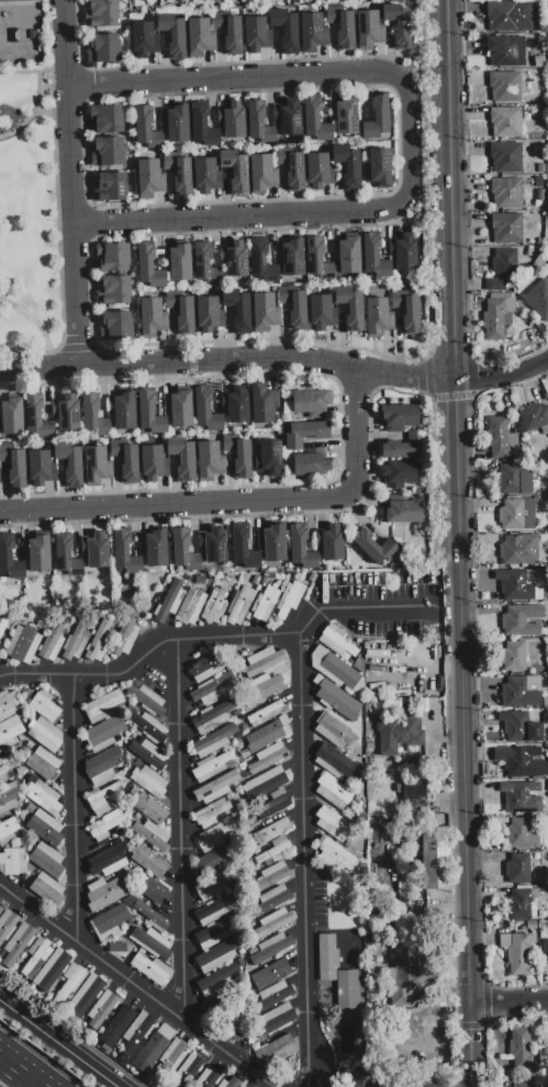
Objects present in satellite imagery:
building: (15, 0)
building: (102, 14)
building: (510, 15)
building: (342, 25)
building: (399, 25)
building: (369, 30)
building: (228, 31)
building: (286, 31)
building: (312, 33)
building: (255, 34)
building: (174, 36)
building: (199, 37)
building: (143, 40)
building: (103, 48)
building: (506, 51)
road: (412, 57)
building: (539, 61)
road: (36, 71)
building: (505, 86)
road: (32, 112)
road: (53, 112)
building: (346, 116)
building: (378, 117)
building: (107, 119)
building: (290, 119)
building: (234, 122)
building: (315, 122)
building: (505, 122)
building: (259, 123)
building: (177, 124)
building: (203, 126)
building: (146, 128)
road: (415, 142)
building: (108, 153)
building: (505, 157)
building: (347, 166)
building: (379, 168)
building: (318, 170)
building: (235, 171)
building: (294, 172)
building: (179, 173)
building: (262, 173)
building: (205, 176)
building: (149, 179)
park: (29, 184)
road: (77, 184)
building: (110, 188)
building: (506, 192)
building: (539, 195)
road: (420, 223)
building: (507, 228)
building: (405, 253)
building: (349, 256)
building: (374, 257)
building: (113, 258)
building: (292, 258)
building: (236, 259)
building: (318, 260)
building: (202, 261)
building: (180, 262)
building: (261, 262)
building: (148, 267)
building: (502, 271)
building: (547, 271)
building: (113, 291)
building: (538, 298)
building: (294, 305)
building: (351, 309)
building: (182, 311)
building: (237, 311)
building: (407, 311)
building: (265, 312)
building: (320, 312)
building: (208, 315)
building: (153, 317)
building: (378, 317)
building: (497, 317)
road: (38, 325)
building: (115, 325)
road: (228, 360)
road: (503, 377)
building: (311, 402)
building: (264, 404)
building: (236, 406)
building: (181, 408)
building: (124, 411)
building: (206, 411)
building: (68, 413)
building: (150, 414)
building: (535, 415)
building: (11, 416)
building: (93, 416)
building: (399, 416)
building: (37, 418)
building: (305, 434)
building: (501, 439)
building: (403, 447)
building: (238, 455)
building: (183, 458)
building: (269, 458)
building: (210, 459)
building: (126, 460)
building: (154, 462)
building: (70, 463)
building: (310, 464)
building: (14, 466)
building: (97, 466)
building: (41, 468)
building: (398, 473)
building: (513, 479)
road: (461, 502)
road: (241, 504)
building: (404, 512)
building: (516, 514)
building: (239, 540)
building: (332, 542)
building: (273, 543)
building: (215, 546)
building: (374, 547)
building: (156, 548)
building: (301, 549)
building: (518, 549)
building: (63, 550)
building: (97, 550)
building: (182, 550)
building: (123, 551)
building: (38, 553)
building: (9, 559)
building: (519, 585)
building: (291, 599)
building: (169, 604)
building: (265, 604)
building: (191, 606)
building: (214, 606)
building: (239, 606)
road: (358, 607)
building: (514, 621)
building: (2, 626)
building: (535, 630)
building: (123, 640)
building: (53, 641)
building: (99, 641)
building: (336, 641)
building: (76, 642)
building: (22, 645)
road: (154, 655)
building: (514, 657)
building: (265, 663)
building: (336, 666)
building: (205, 669)
building: (264, 688)
building: (212, 690)
building: (522, 692)
building: (336, 698)
building: (146, 699)
building: (546, 702)
building: (8, 704)
building: (44, 706)
building: (102, 706)
building: (119, 708)
building: (134, 708)
building: (266, 714)
building: (213, 717)
building: (546, 718)
building: (148, 727)
building: (519, 727)
building: (9, 731)
building: (335, 732)
building: (398, 732)
building: (103, 733)
building: (126, 733)
building: (45, 735)
building: (267, 735)
building: (133, 736)
building: (213, 741)
building: (238, 744)
building: (148, 754)
building: (244, 754)
building: (268, 761)
building: (333, 761)
building: (517, 762)
building: (43, 763)
building: (137, 763)
building: (103, 765)
building: (7, 766)
building: (210, 766)
building: (148, 781)
building: (266, 784)
building: (213, 788)
building: (332, 788)
building: (414, 793)
building: (9, 797)
building: (43, 797)
building: (104, 798)
building: (521, 798)
building: (275, 803)
building: (147, 807)
building: (29, 808)
road: (79, 809)
building: (211, 814)
building: (137, 818)
building: (333, 825)
building: (105, 826)
building: (45, 829)
road: (187, 830)
building: (521, 830)
building: (8, 831)
building: (272, 831)
building: (150, 834)
building: (113, 836)
building: (212, 839)
building: (546, 839)
building: (275, 852)
building: (336, 852)
building: (436, 859)
building: (108, 860)
building: (214, 860)
building: (12, 861)
building: (47, 861)
building: (148, 861)
road: (310, 861)
building: (334, 865)
building: (518, 869)
building: (125, 870)
building: (271, 876)
building: (212, 886)
building: (523, 887)
building: (403, 889)
building: (47, 890)
building: (155, 893)
building: (104, 894)
building: (271, 900)
building: (519, 904)
building: (1, 909)
building: (215, 910)
building: (152, 916)
building: (109, 920)
building: (273, 923)
building: (7, 924)
building: (532, 924)
building: (544, 930)
building: (108, 934)
building: (213, 934)
building: (18, 943)
building: (152, 943)
building: (116, 946)
building: (271, 948)
building: (142, 951)
building: (517, 951)
building: (544, 952)
building: (36, 956)
building: (216, 956)
building: (152, 970)
building: (51, 971)
building: (336, 972)
building: (271, 975)
building: (403, 975)
building: (220, 978)
building: (70, 983)
road: (138, 986)
building: (86, 995)
building: (273, 995)
road: (510, 1004)
building: (101, 1010)
building: (122, 1018)
building: (273, 1020)
building: (166, 1031)
building: (136, 1032)
road: (63, 1041)
road: (472, 1045)
building: (519, 1047)
building: (276, 1051)
building: (150, 1052)
building: (172, 1055)
building: (189, 1067)
road: (19, 1073)
building: (208, 1077)
building: (359, 1077)
building: (230, 1083)
building: (529, 1085)
building: (242, 1086)
building: (244, 1086)

